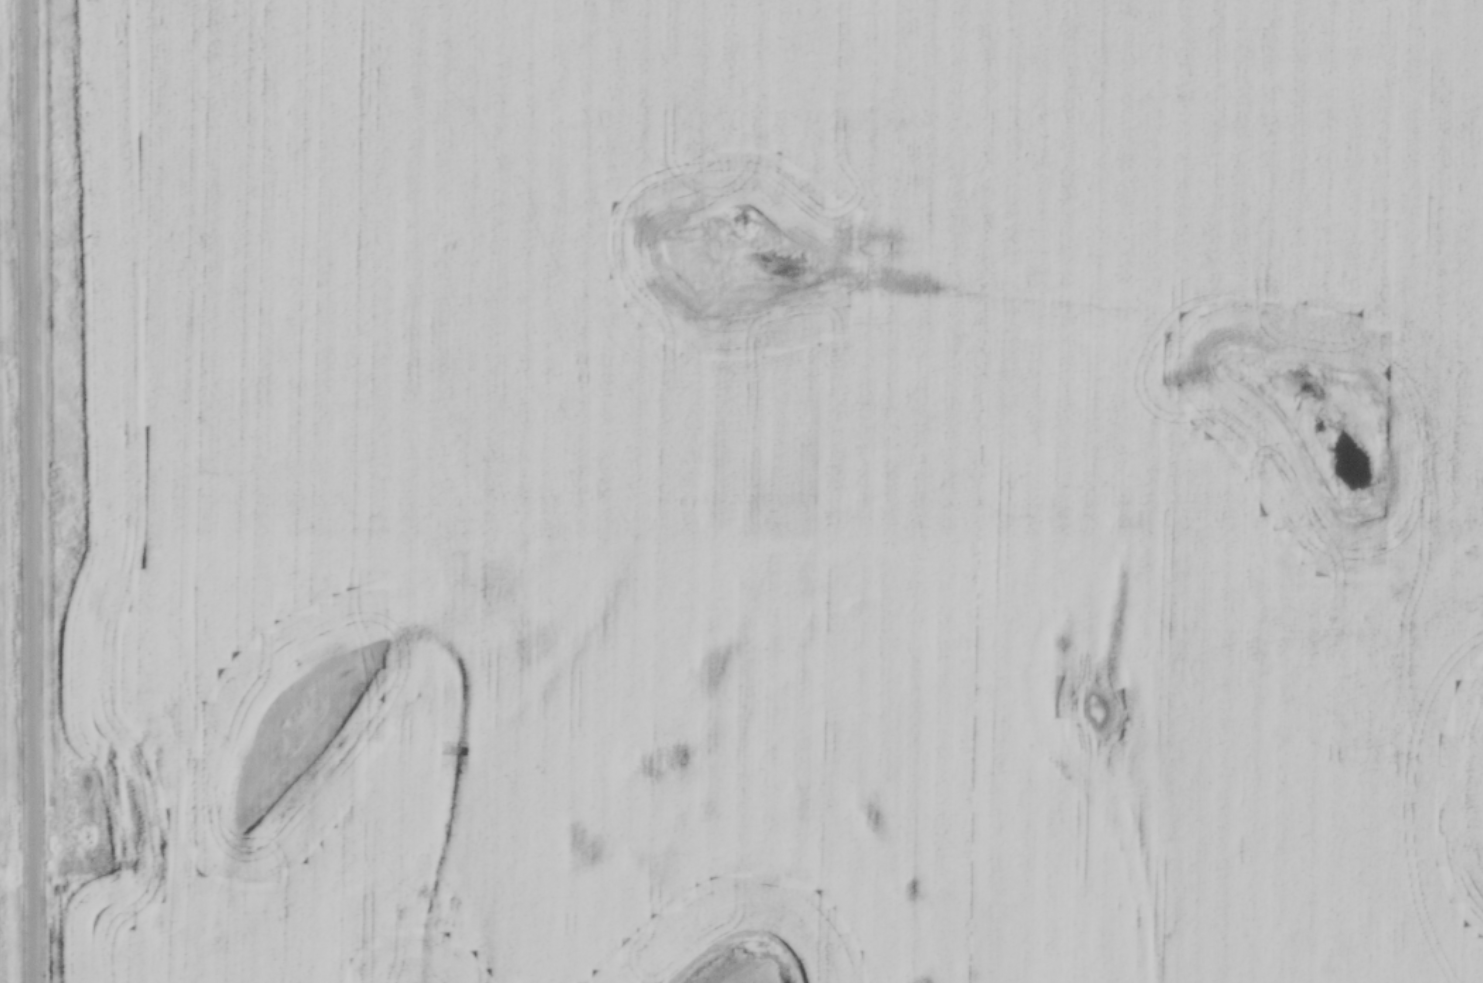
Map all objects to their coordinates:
road: (25, 491)

